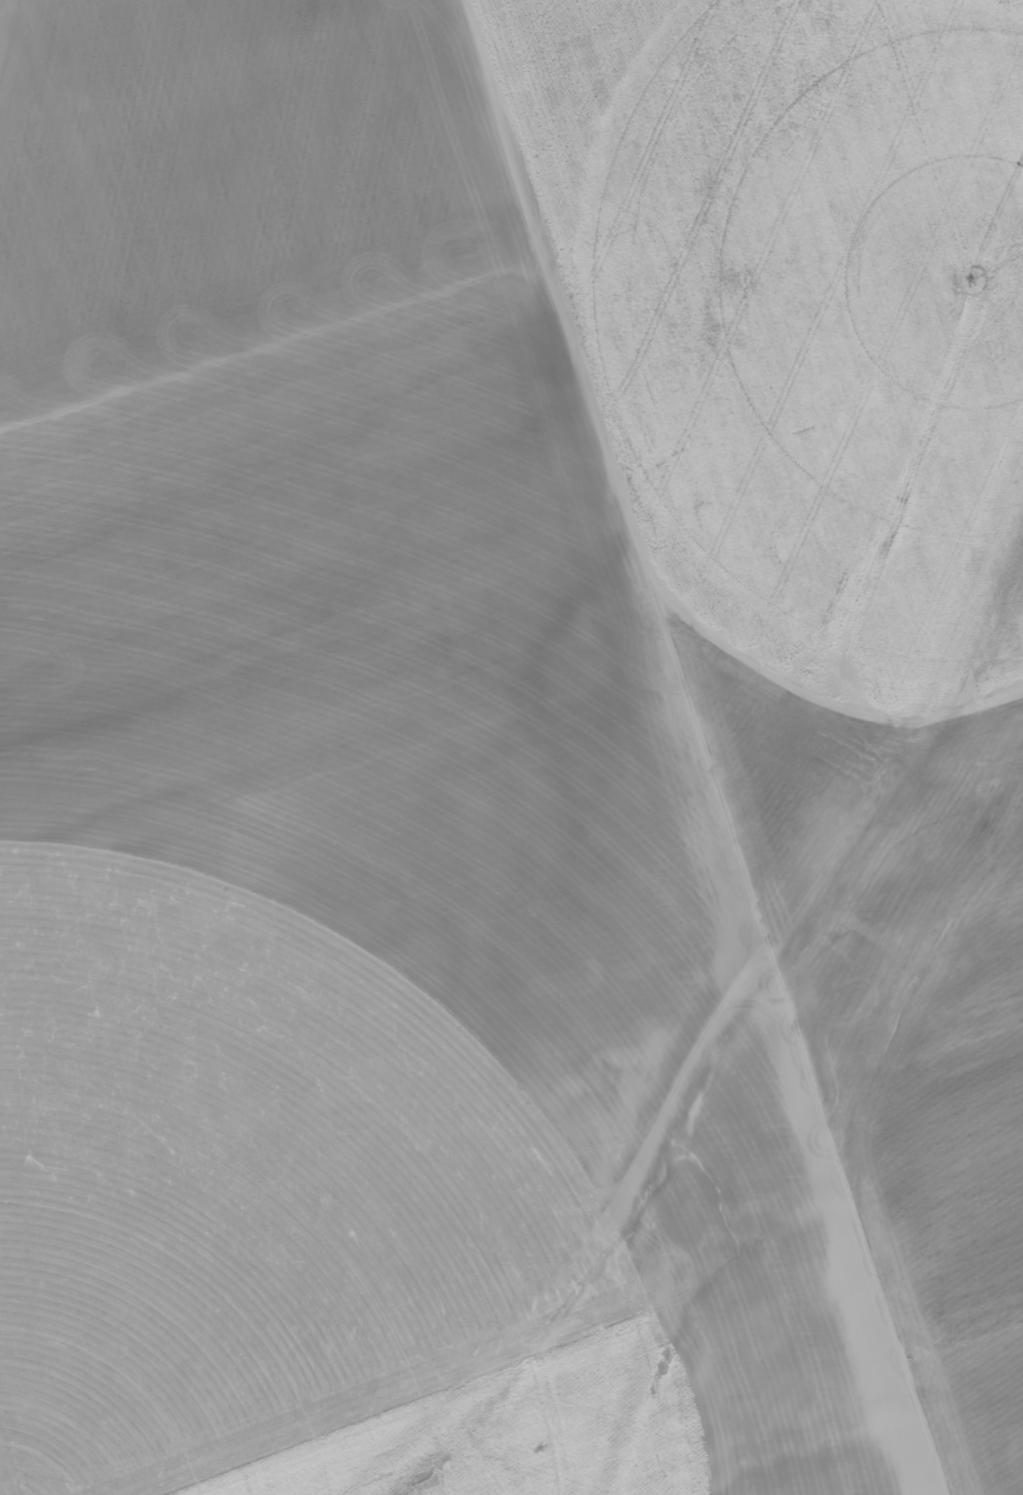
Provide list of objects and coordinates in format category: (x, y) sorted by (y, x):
road: (10, 31)
road: (693, 753)
road: (1, 1489)

